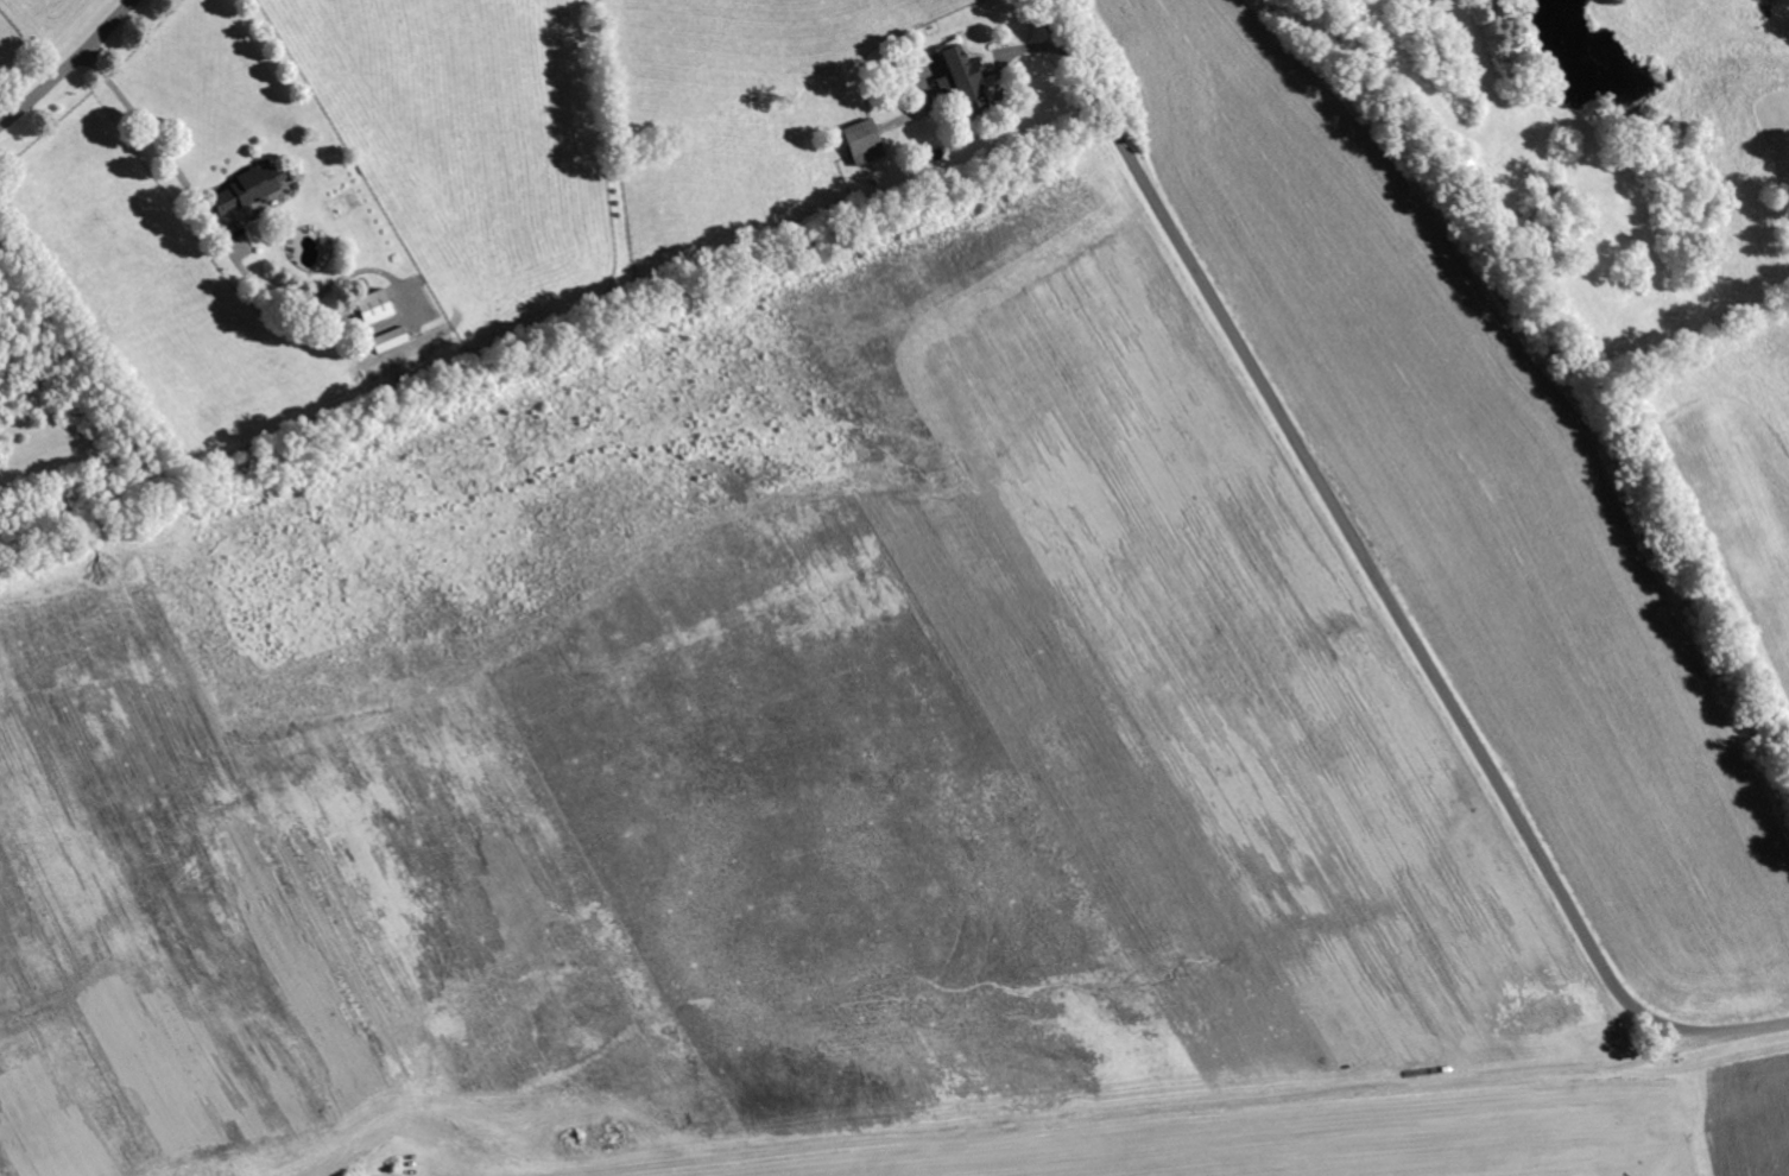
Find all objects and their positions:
road: (69, 64)
building: (957, 76)
road: (151, 139)
building: (860, 143)
building: (249, 185)
building: (375, 306)
building: (391, 339)
road: (1379, 570)
road: (1114, 1113)
road: (374, 1166)

